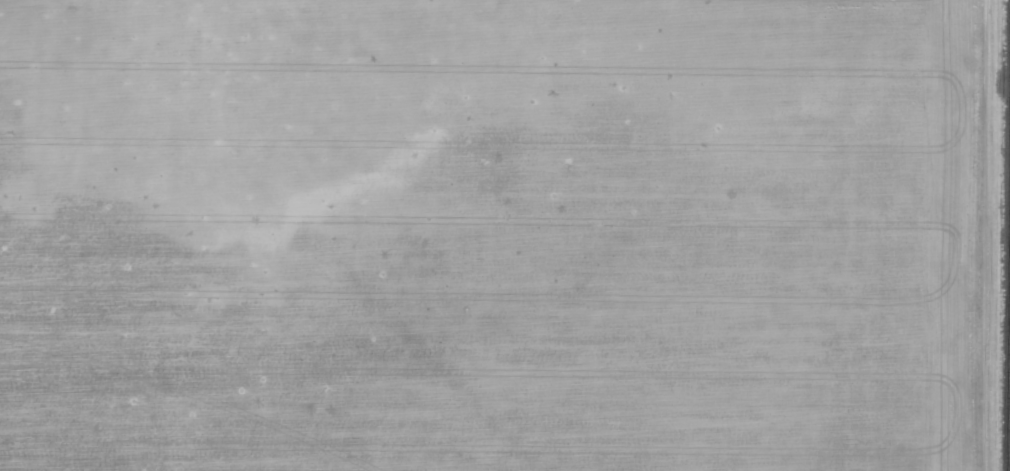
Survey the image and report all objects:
railway: (1008, 277)

